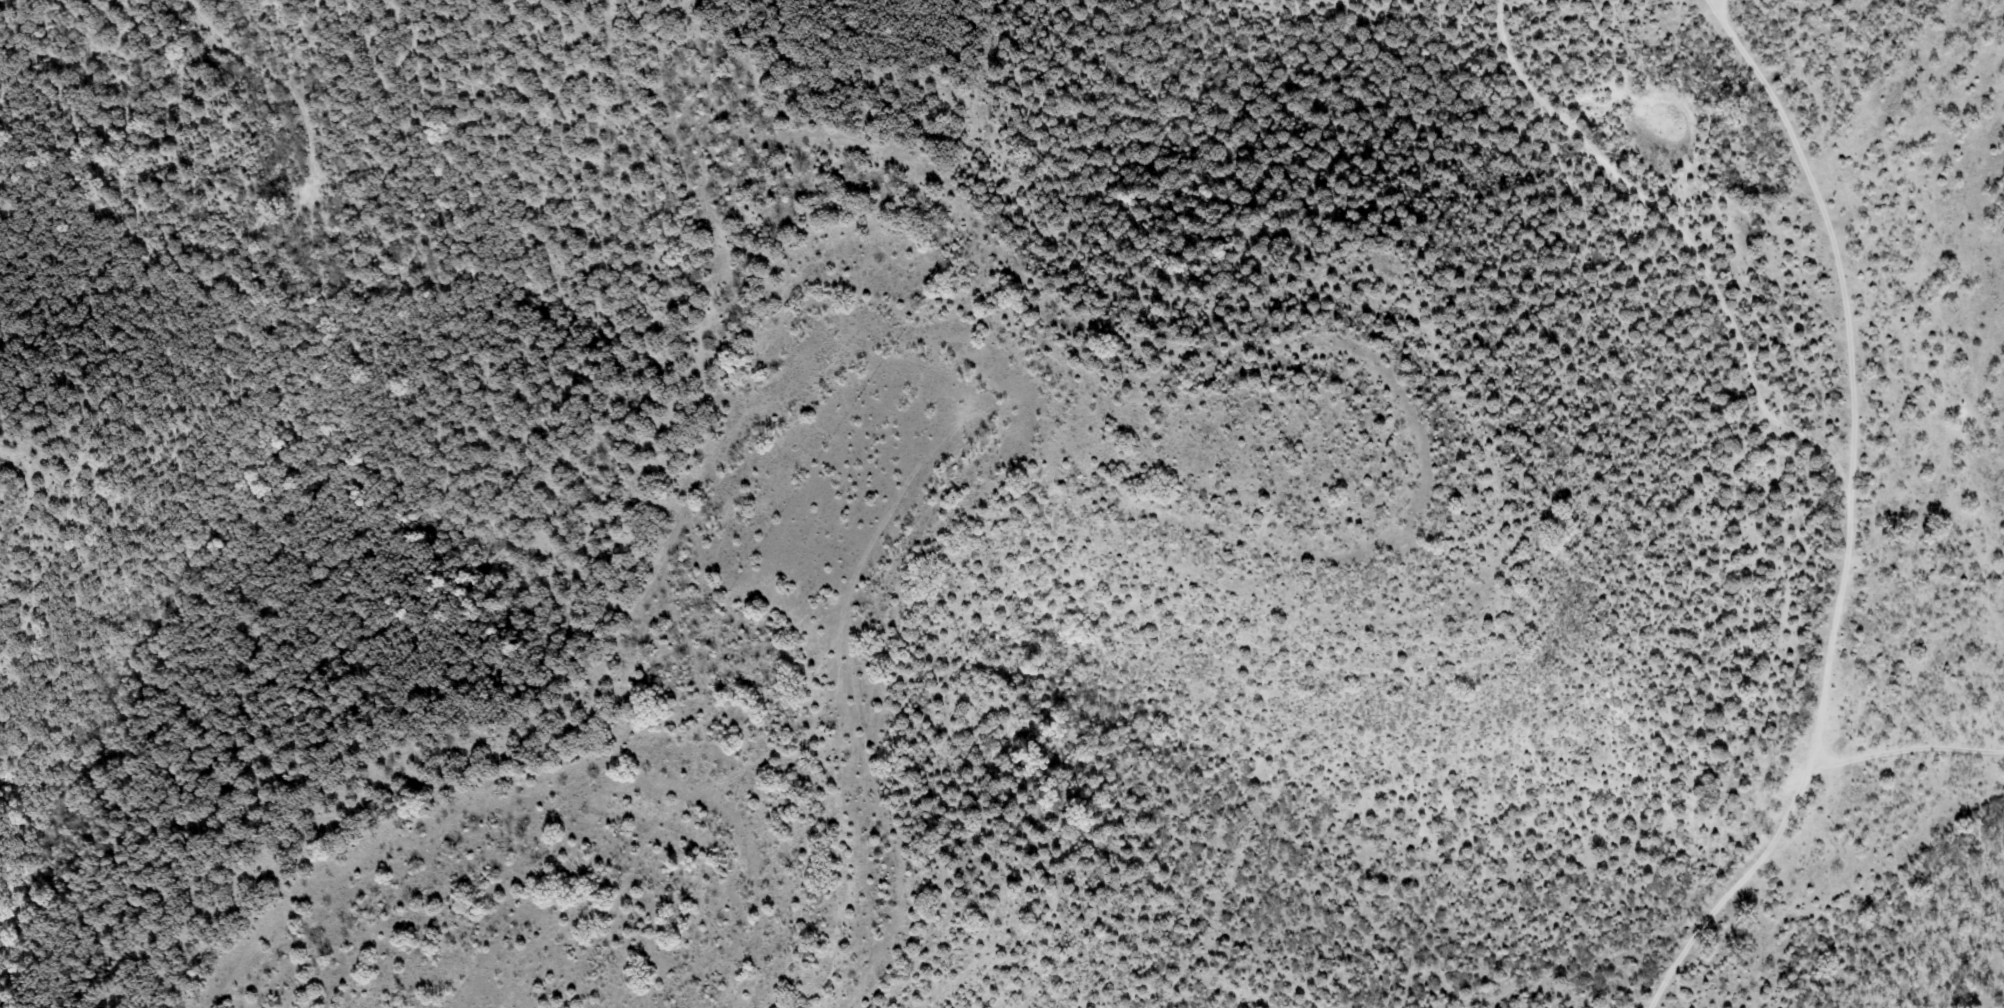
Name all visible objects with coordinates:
road: (1797, 480)

